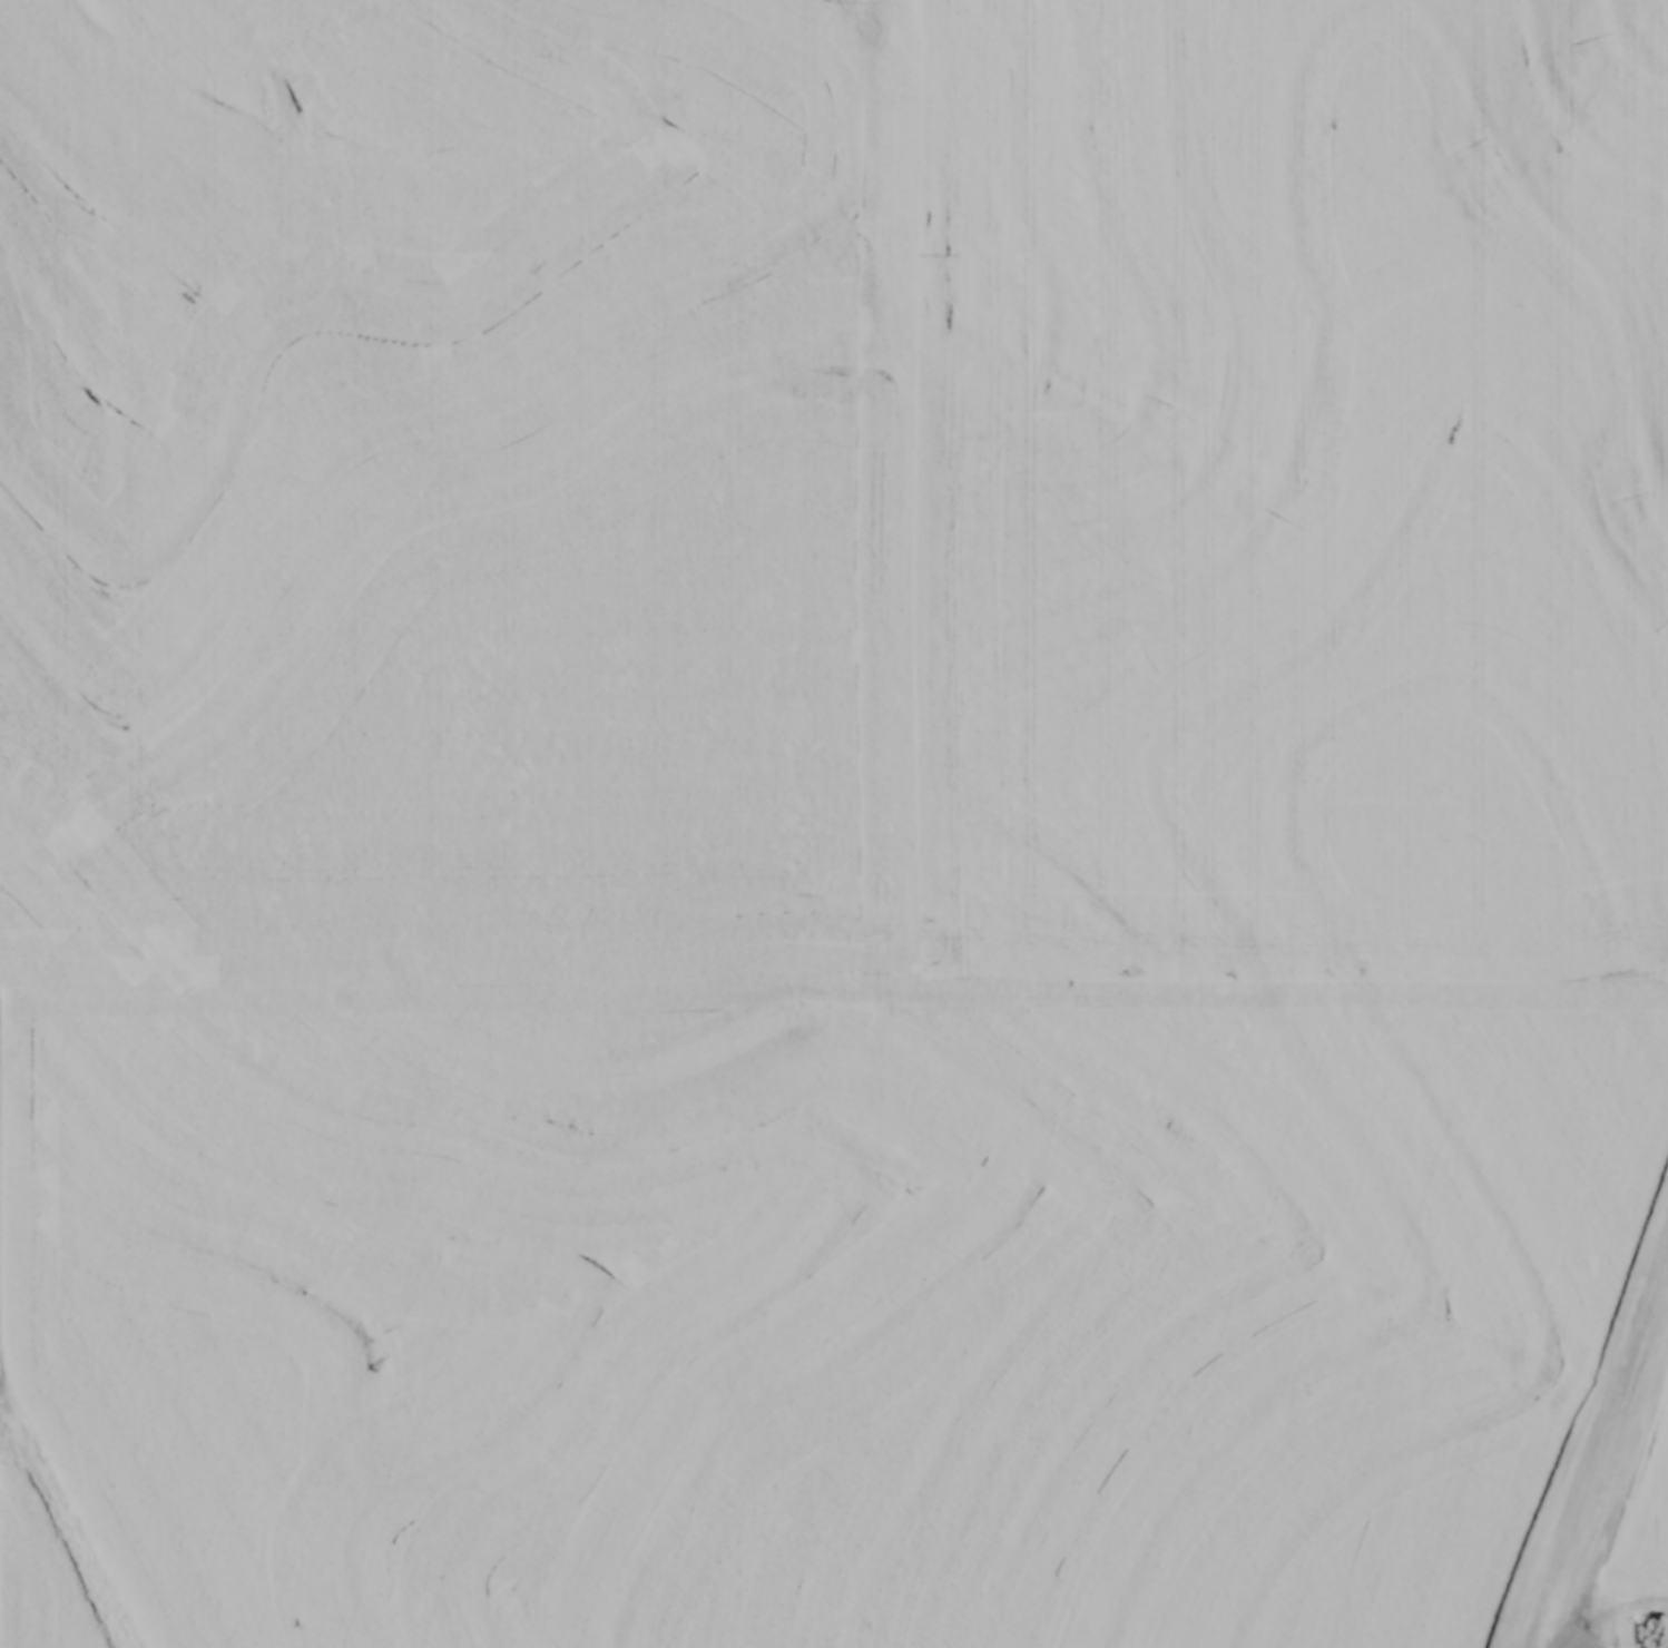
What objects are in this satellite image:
airport runway: (1567, 1564)

